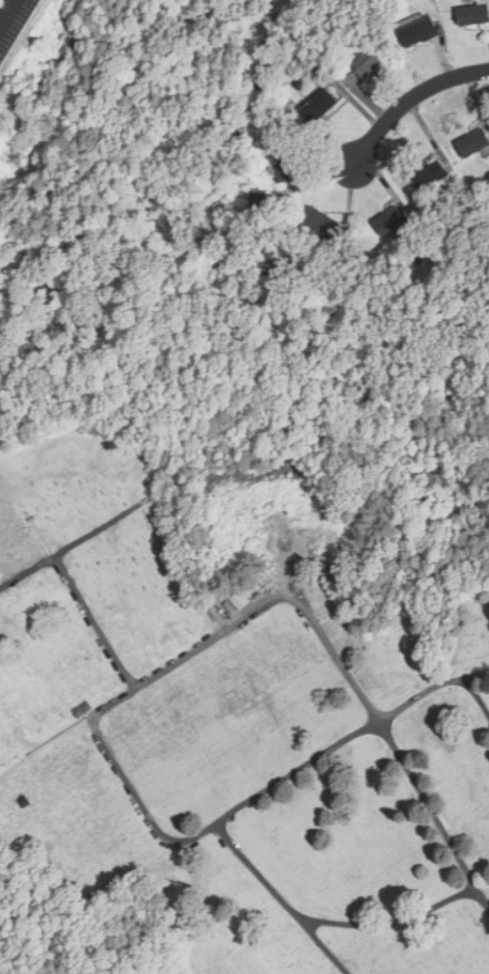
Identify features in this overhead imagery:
road: (7, 12)
building: (474, 13)
building: (417, 31)
building: (368, 62)
road: (411, 98)
building: (318, 106)
building: (473, 142)
building: (287, 166)
building: (430, 176)
building: (257, 202)
building: (389, 220)
building: (321, 221)
park: (42, 376)
building: (246, 594)
road: (309, 610)
road: (104, 634)
road: (478, 691)
park: (234, 718)
road: (266, 791)
road: (288, 896)
road: (401, 919)
park: (8, 958)

